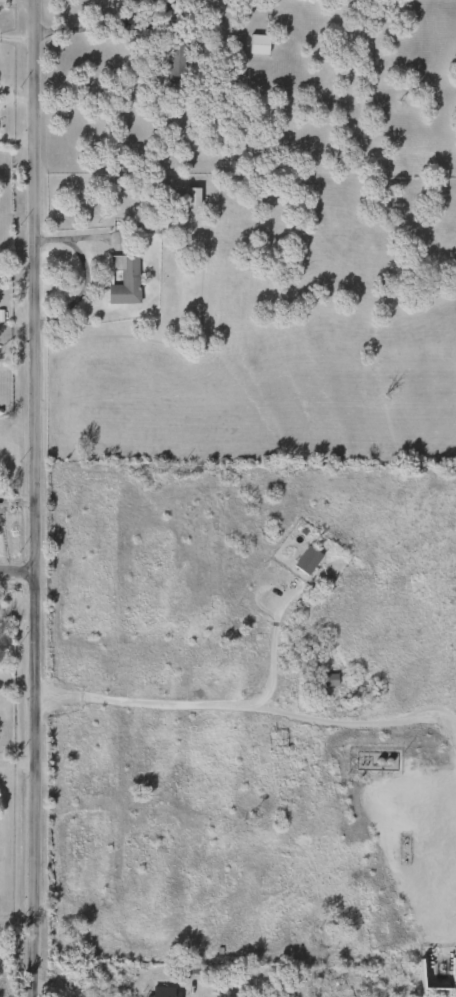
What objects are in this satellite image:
road: (142, 25)
building: (256, 44)
building: (190, 197)
building: (122, 279)
road: (34, 498)
road: (17, 499)
road: (1, 538)
building: (305, 560)
road: (16, 578)
road: (16, 612)
road: (271, 645)
building: (325, 680)
road: (141, 701)
road: (362, 723)
road: (17, 763)
building: (160, 991)

